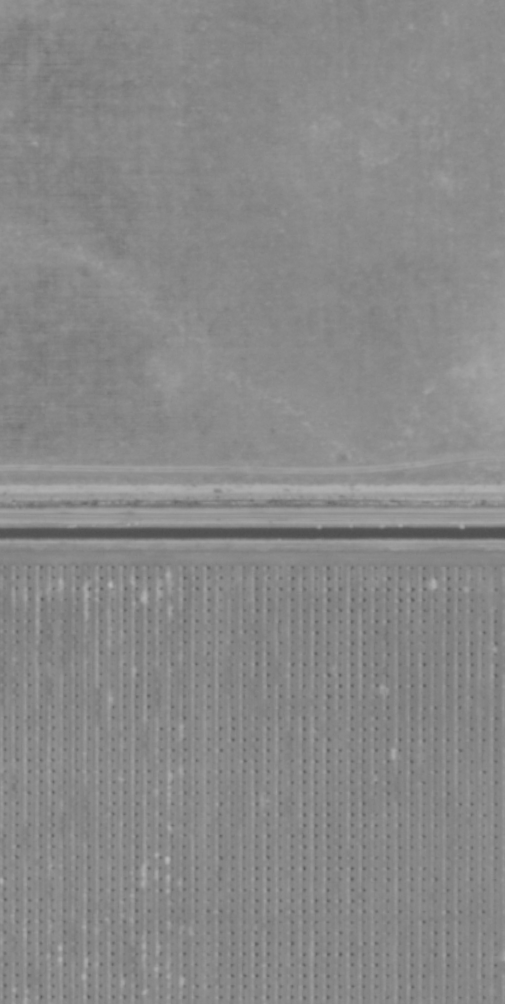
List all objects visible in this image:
crop: (252, 502)
road: (252, 518)
road: (252, 563)

